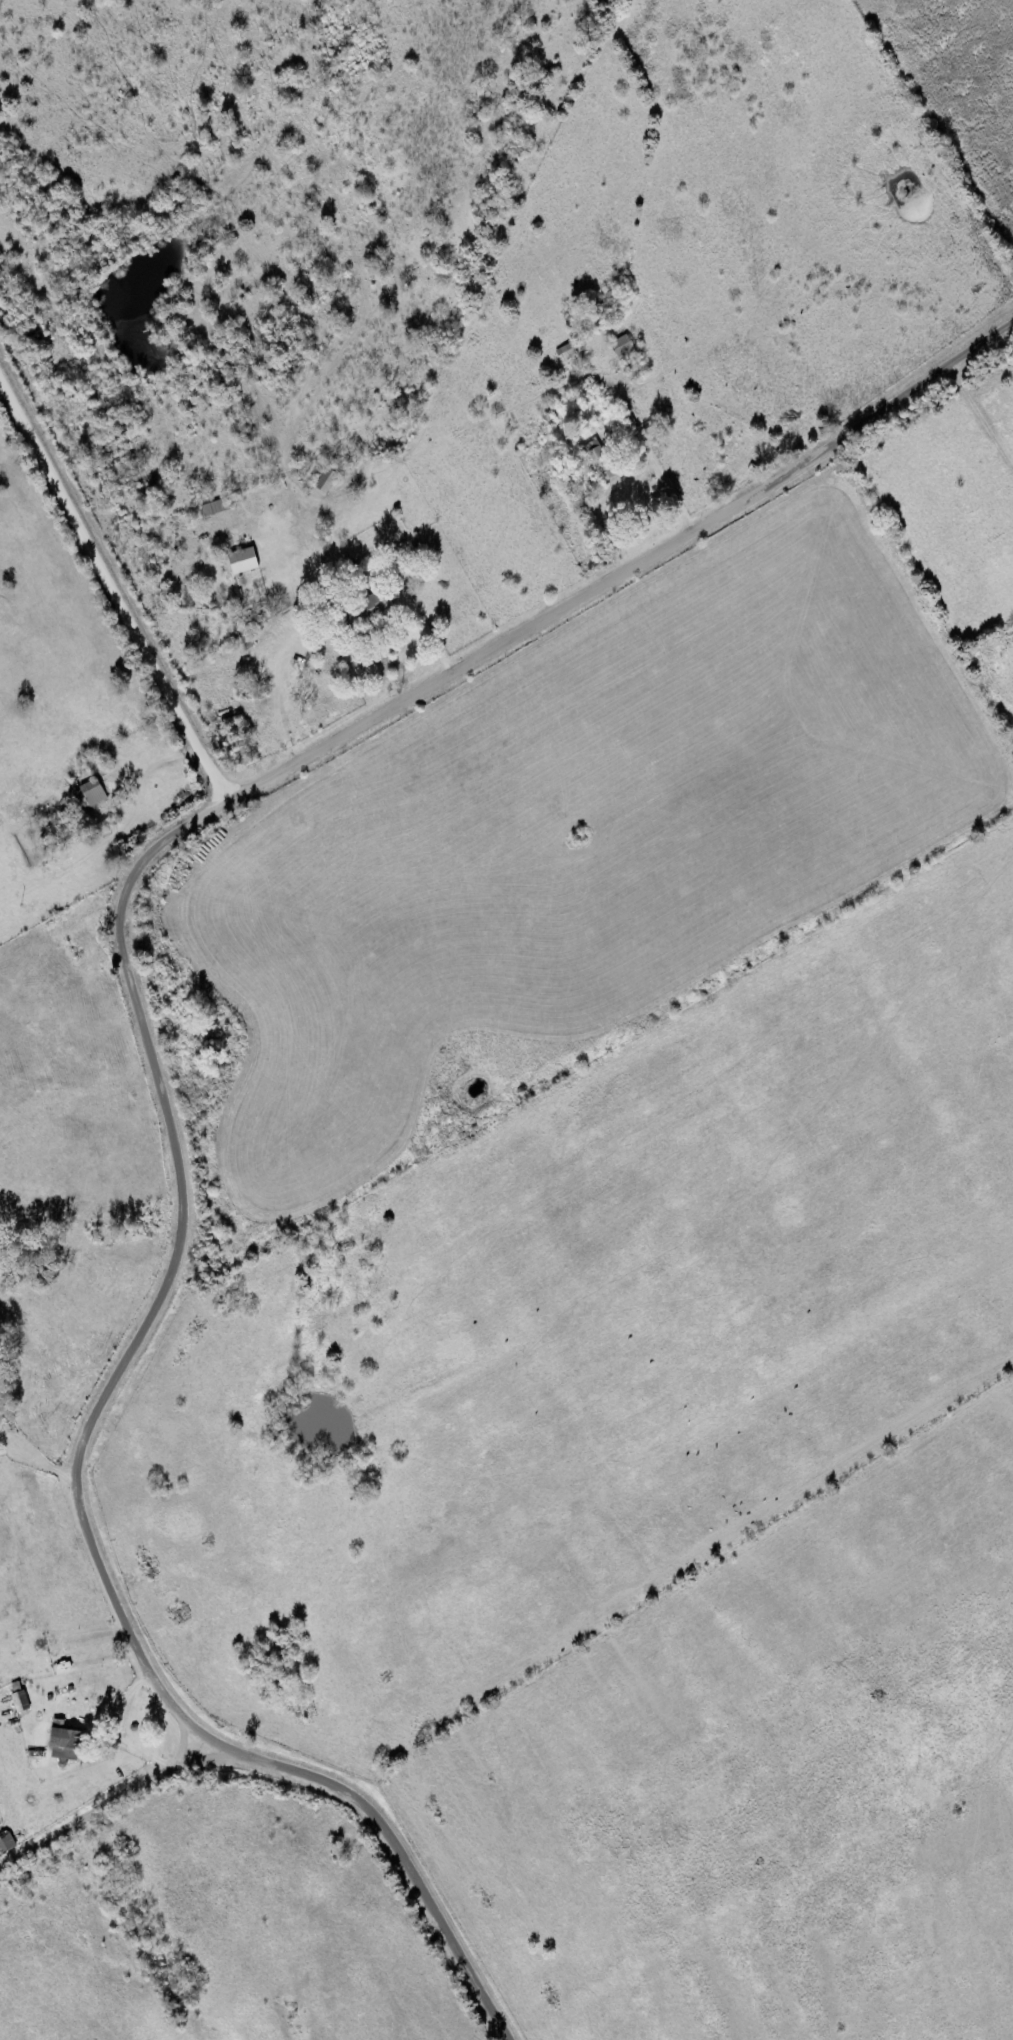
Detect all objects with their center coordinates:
building: (625, 348)
building: (569, 352)
building: (599, 460)
building: (244, 561)
road: (630, 572)
road: (118, 580)
building: (367, 610)
road: (83, 1469)
building: (21, 1702)
building: (66, 1743)
road: (107, 1805)
building: (6, 1843)

